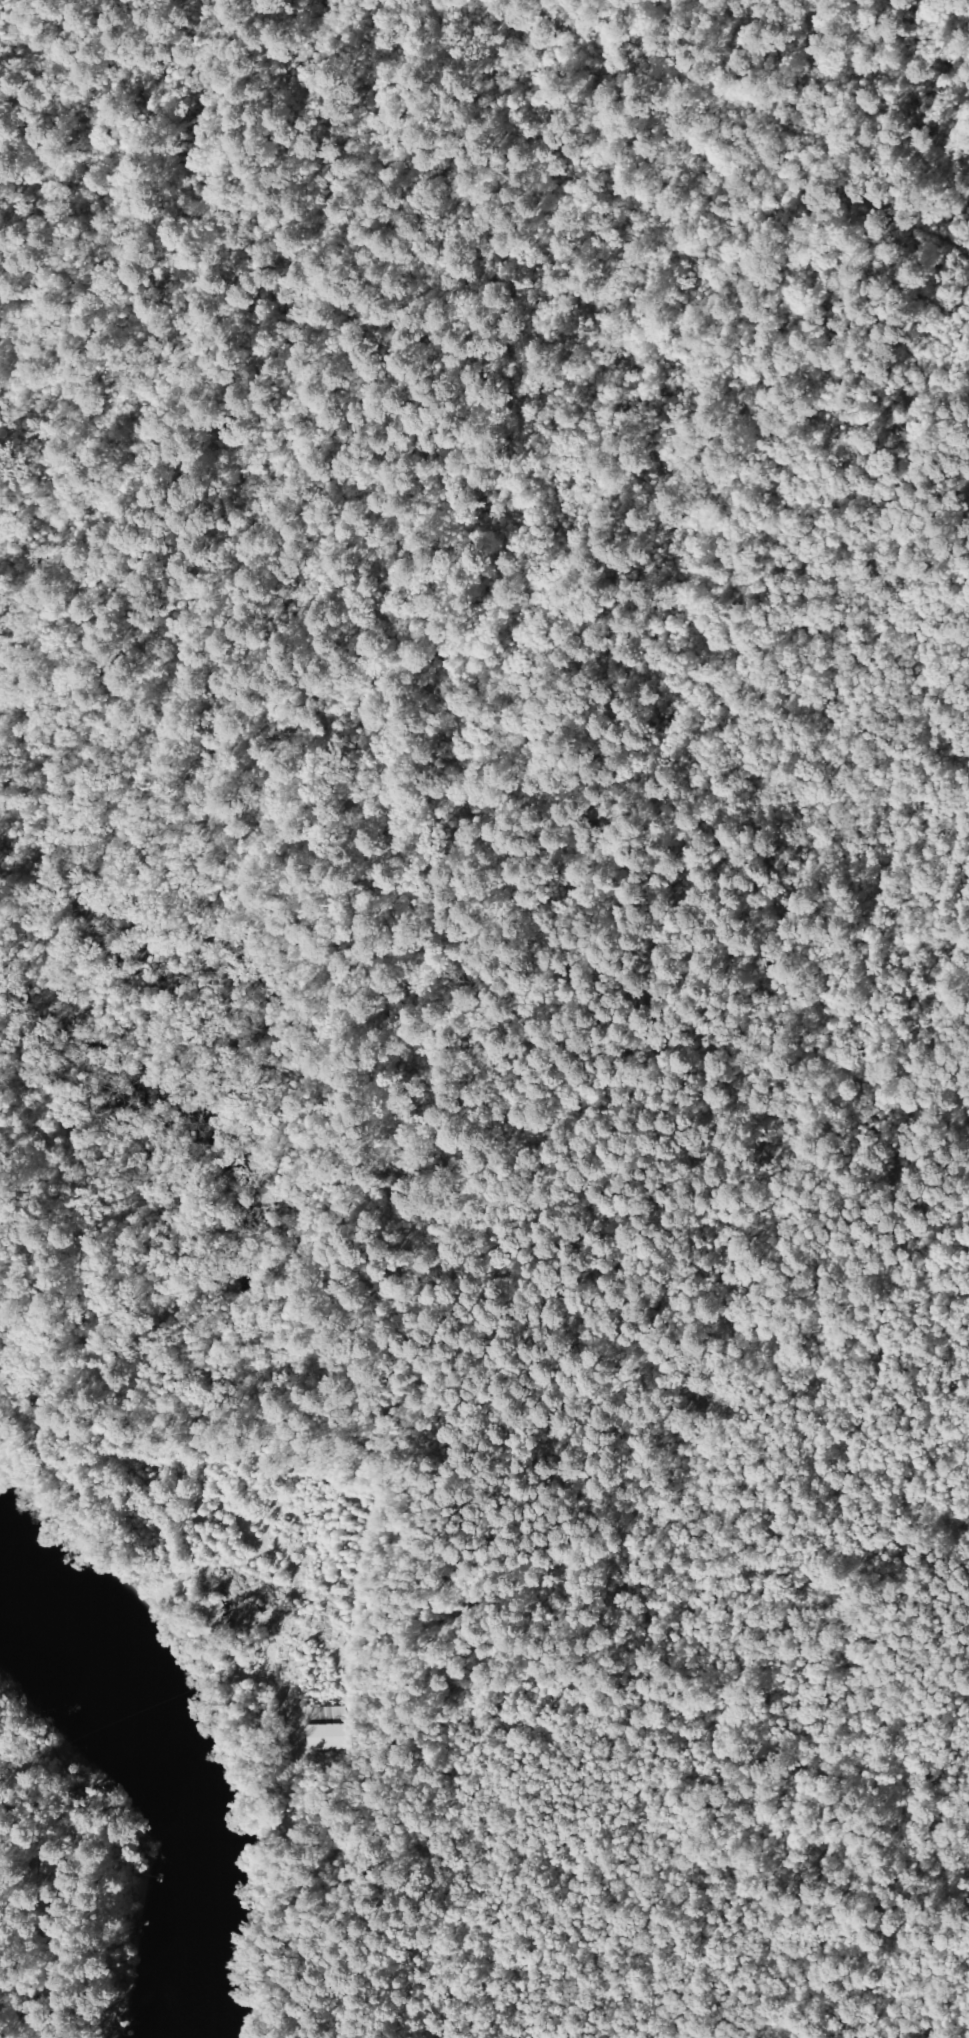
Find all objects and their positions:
road: (854, 170)
road: (847, 1512)
building: (323, 1737)
road: (42, 1758)
river: (175, 1778)
road: (449, 1783)

